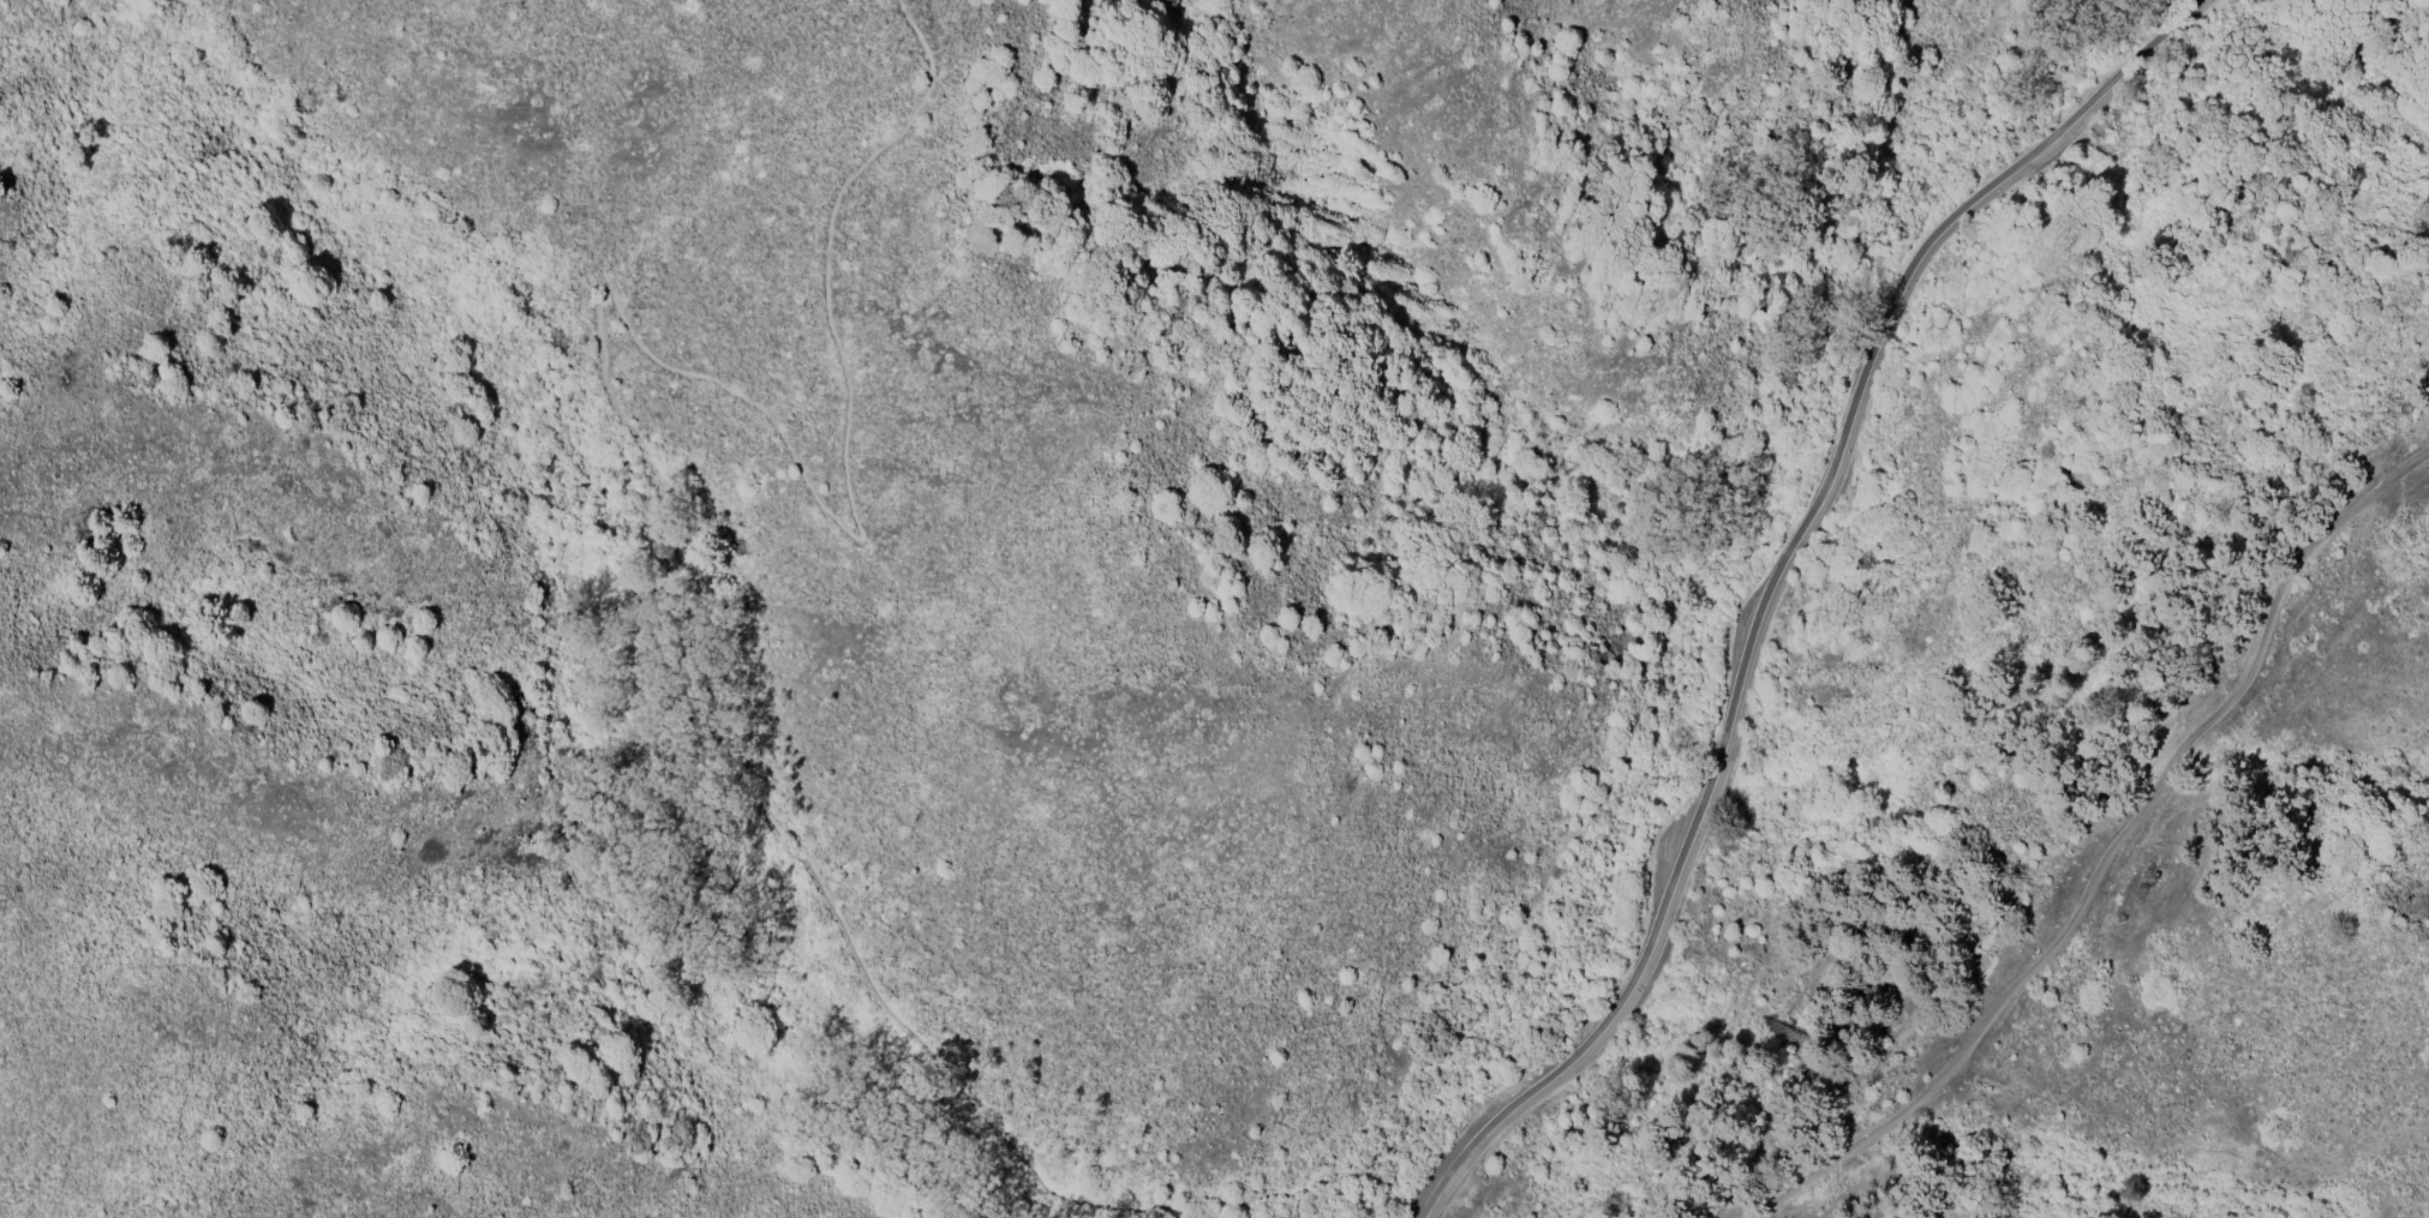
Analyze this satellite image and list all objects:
road: (664, 490)
road: (1659, 582)
road: (1778, 583)
road: (2110, 852)

